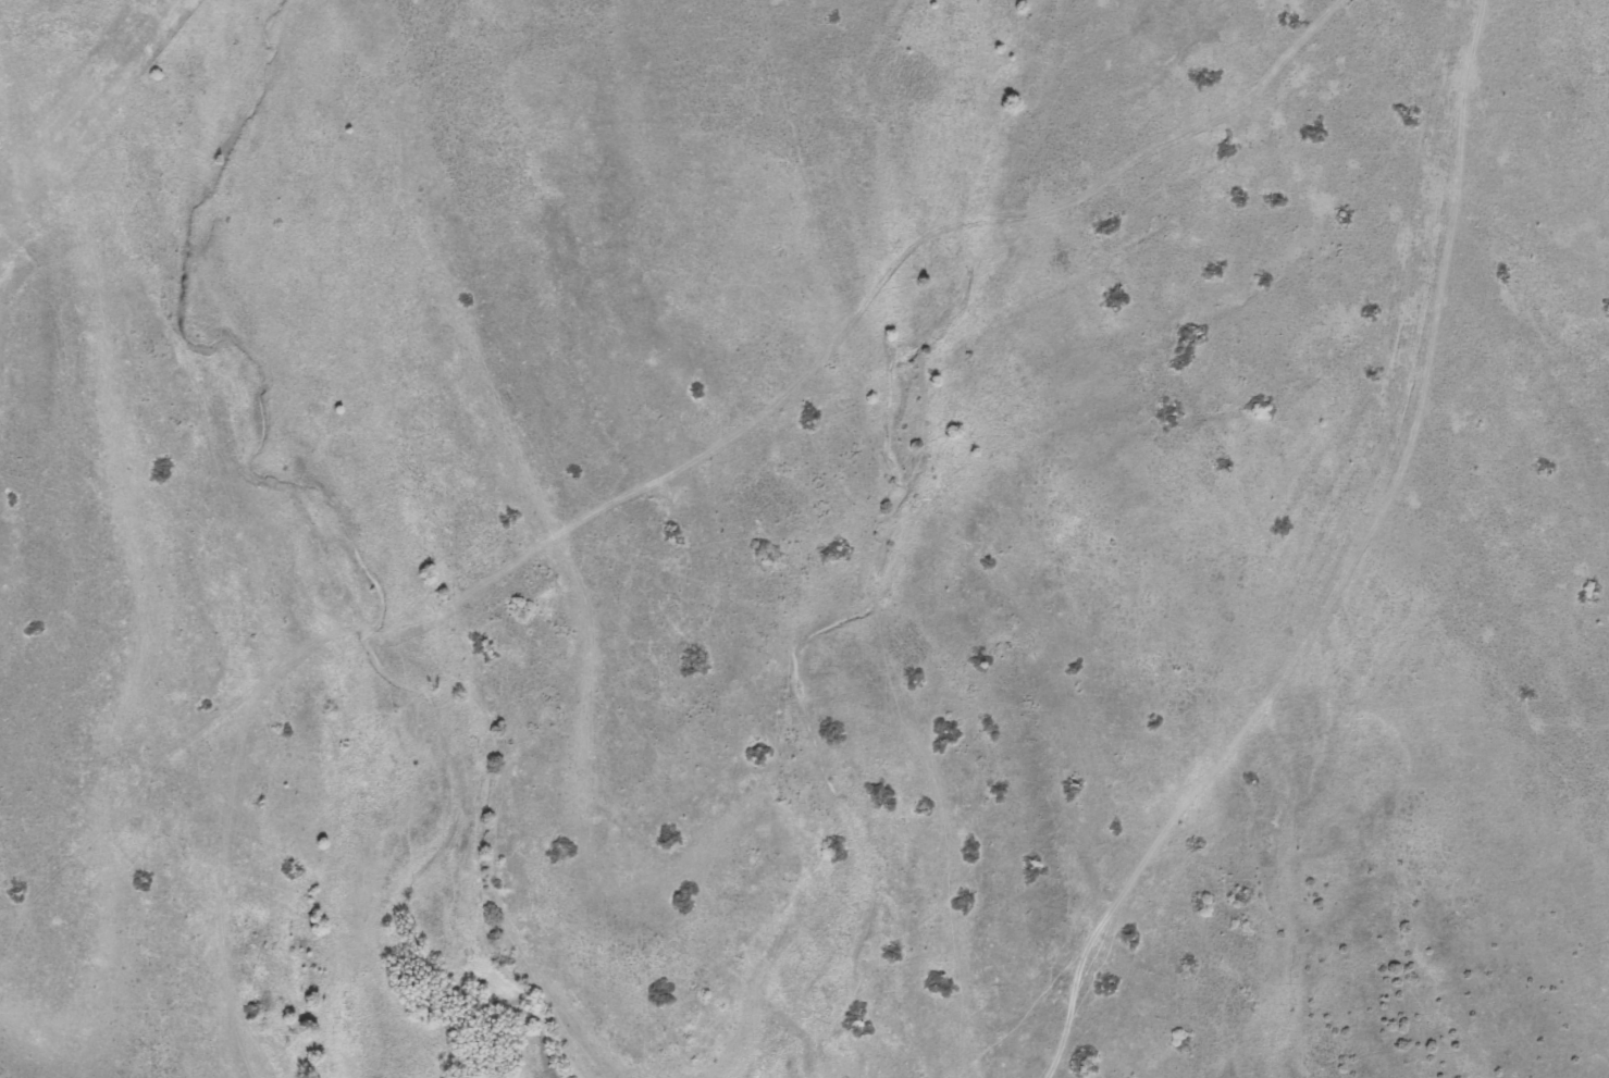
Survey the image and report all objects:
road: (1342, 571)

